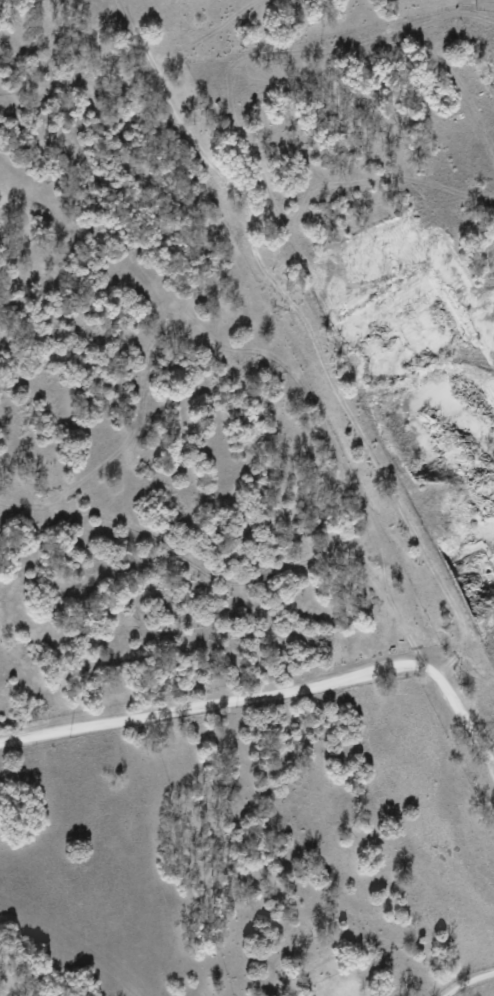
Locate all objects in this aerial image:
quarry: (427, 382)
road: (272, 689)
road: (467, 980)

